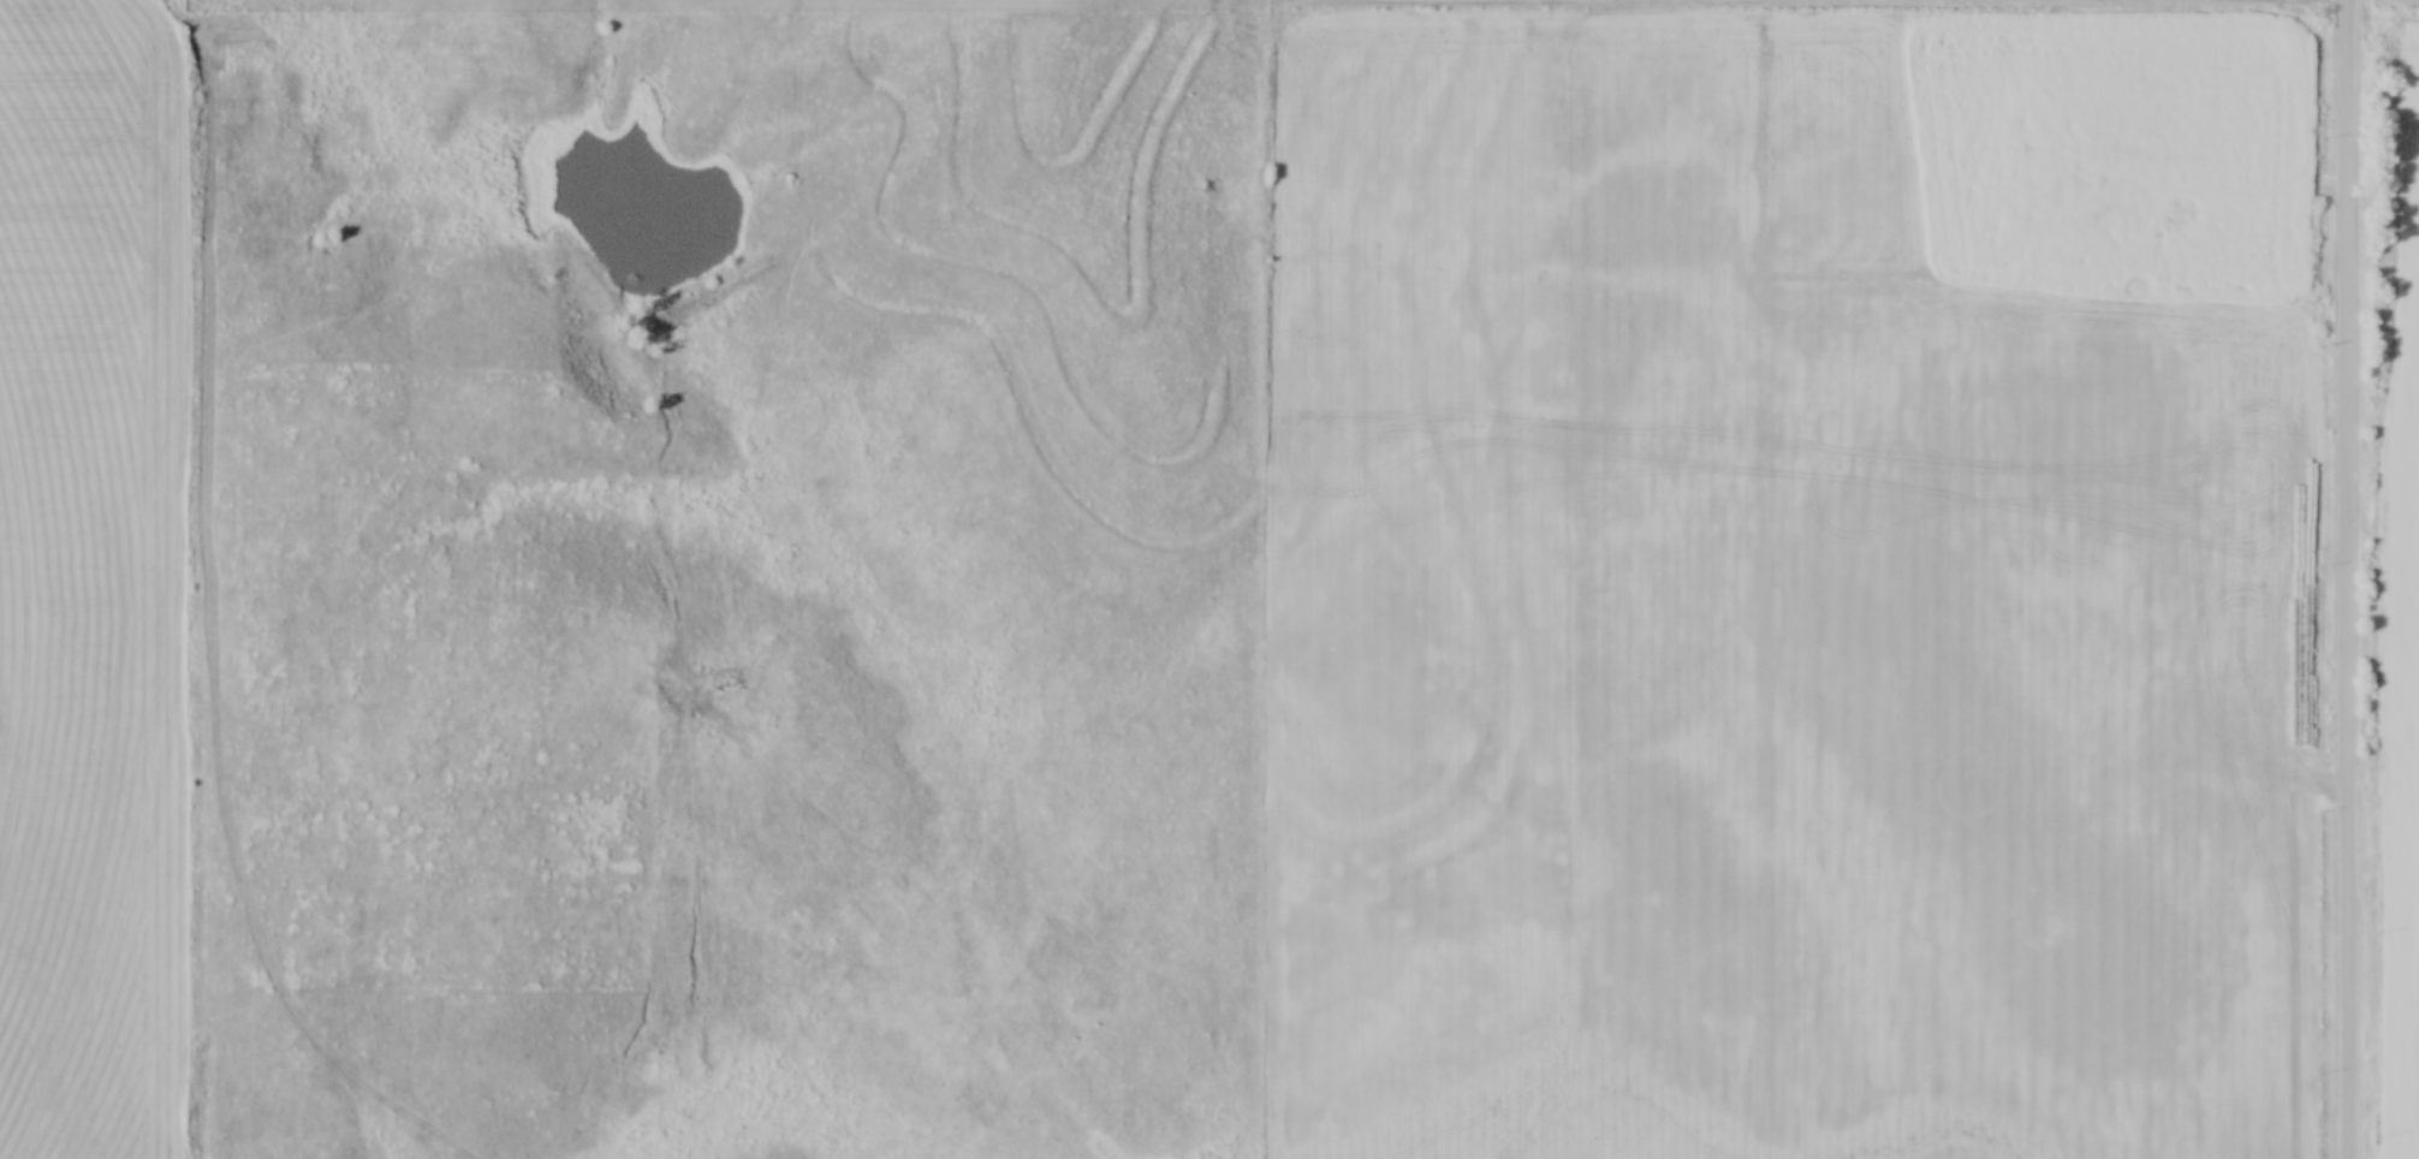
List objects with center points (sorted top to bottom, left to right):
park: (2397, 4)
road: (2348, 578)

